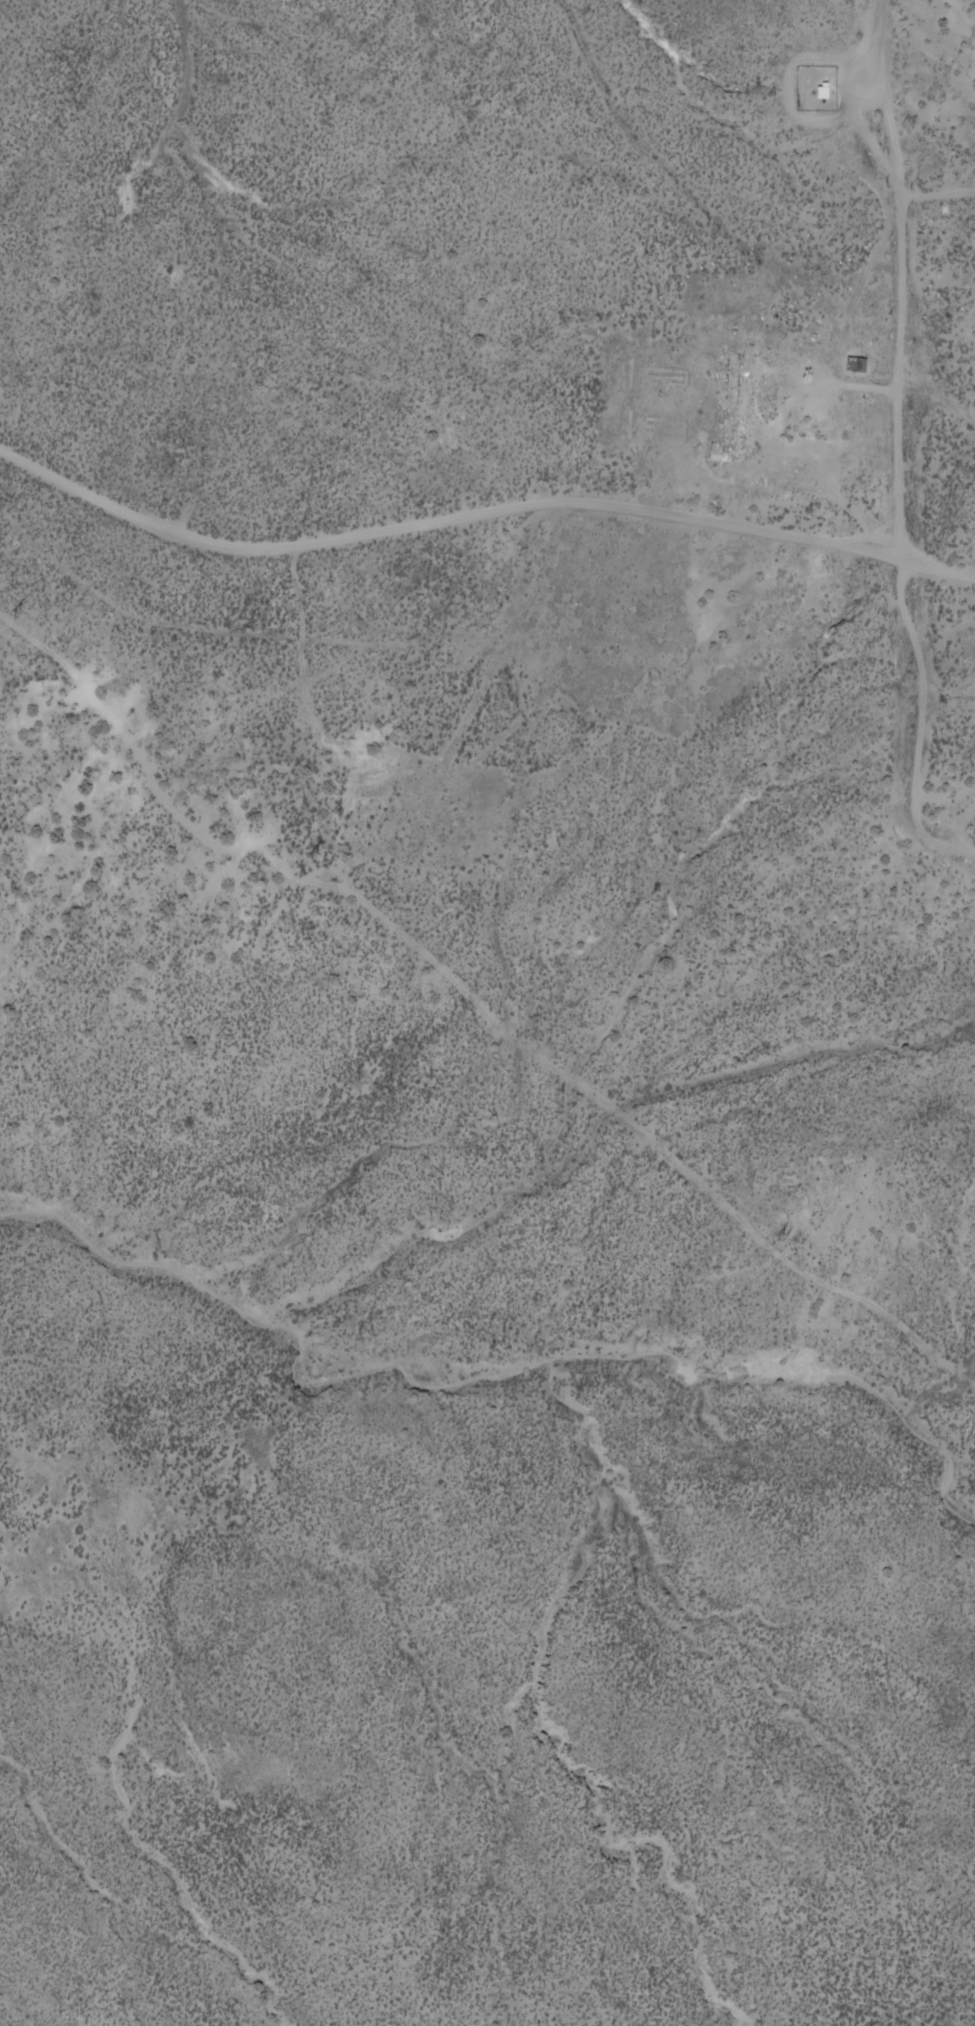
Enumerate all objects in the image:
building: (819, 85)
road: (848, 316)
building: (857, 363)
road: (907, 374)
road: (472, 516)
road: (966, 578)
power tower: (12, 613)
power tower: (311, 856)
power tower: (781, 1237)

